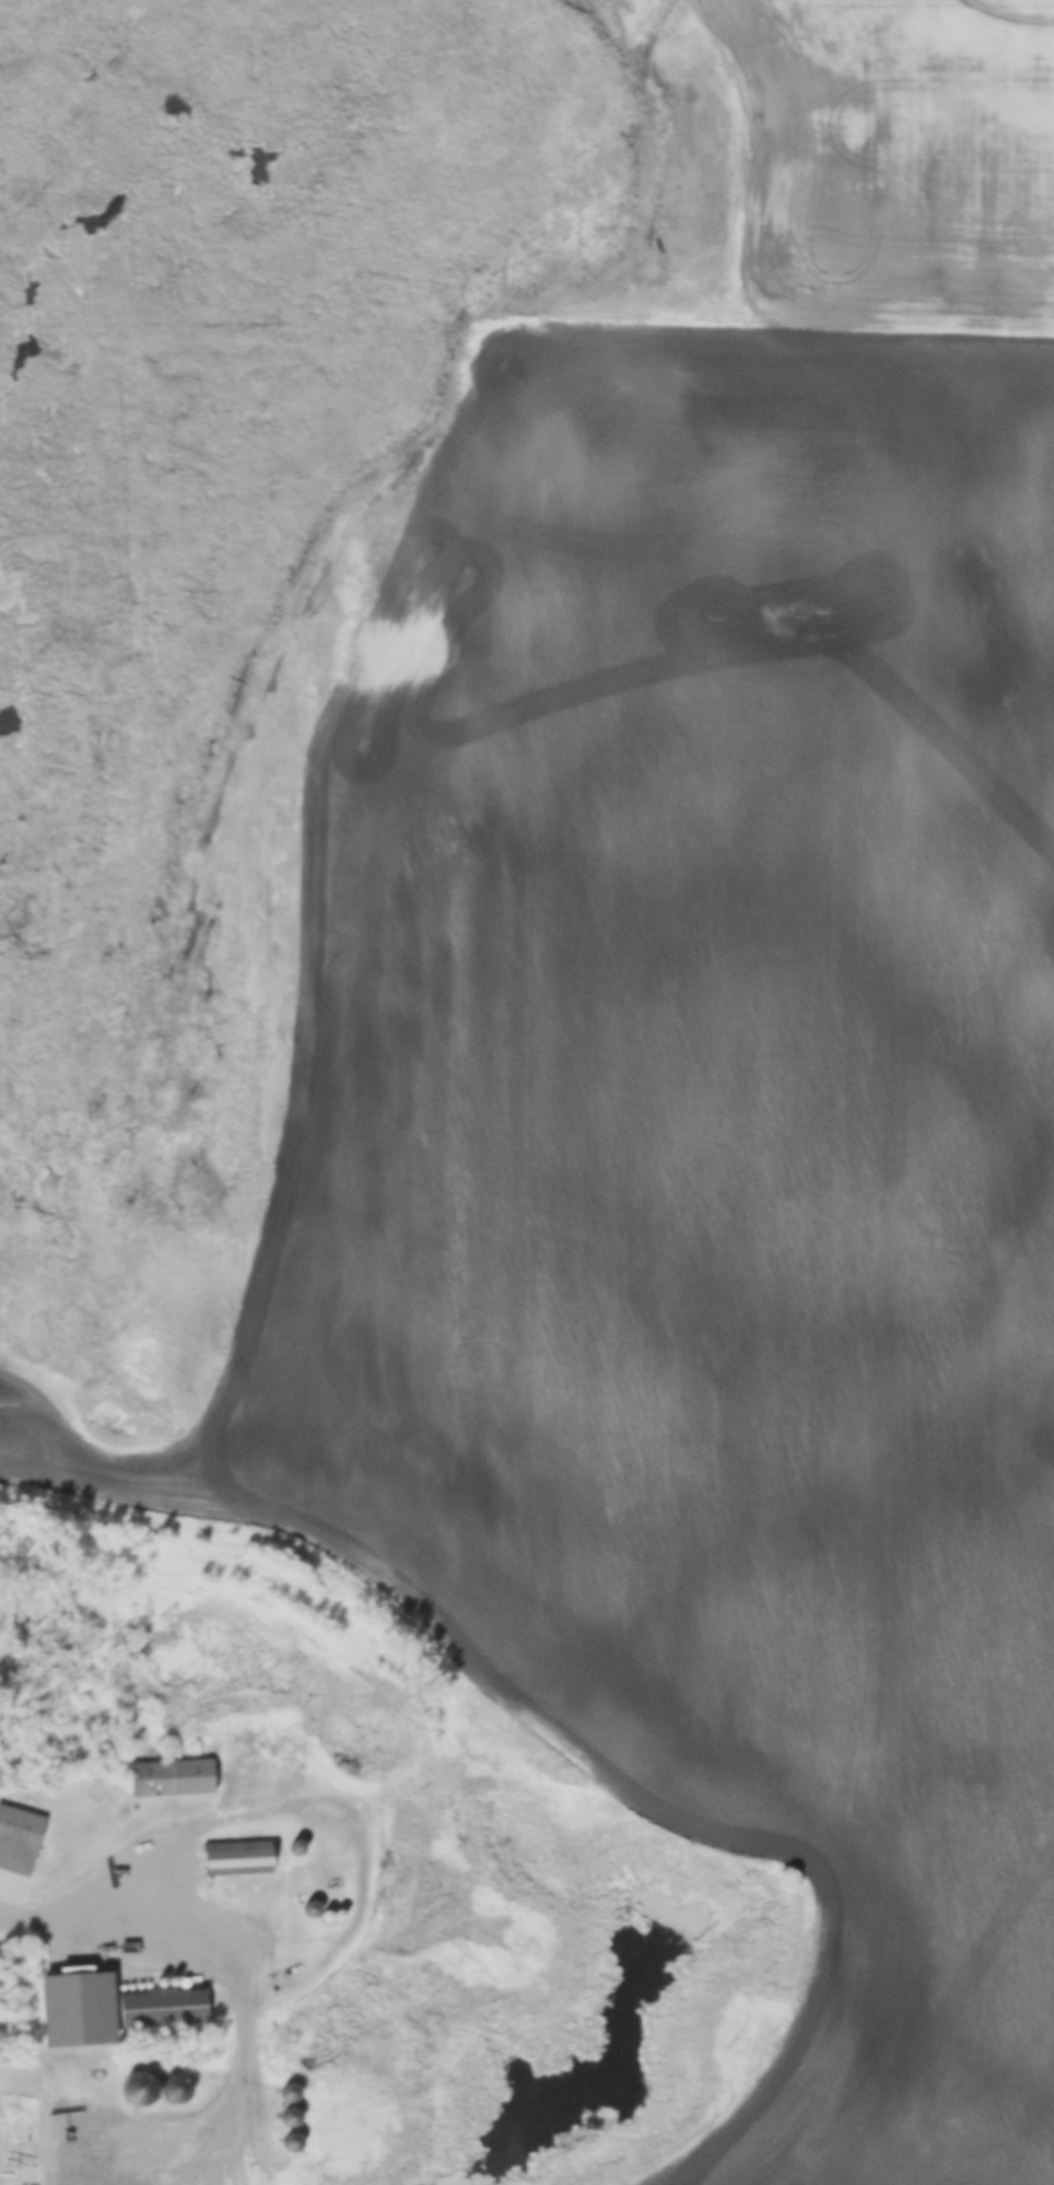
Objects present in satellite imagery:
building: (171, 1777)
building: (297, 1846)
silo: (297, 1846)
building: (10, 1855)
building: (235, 1858)
building: (296, 1867)
silo: (296, 1867)
building: (295, 1885)
silo: (295, 1885)
road: (359, 1893)
building: (294, 1905)
silo: (294, 1905)
building: (312, 1907)
silo: (312, 1907)
building: (340, 1914)
silo: (340, 1914)
building: (327, 1915)
silo: (327, 1915)
road: (27, 1918)
building: (295, 1926)
silo: (295, 1926)
building: (295, 1950)
silo: (295, 1950)
building: (293, 1970)
silo: (293, 1970)
building: (187, 1980)
silo: (187, 1980)
building: (173, 1982)
silo: (173, 1982)
building: (159, 1983)
silo: (159, 1983)
building: (74, 2008)
building: (161, 2012)
building: (177, 2087)
silo: (177, 2087)
building: (138, 2088)
silo: (138, 2088)
building: (291, 2091)
silo: (291, 2091)
building: (291, 2114)
silo: (291, 2114)
building: (291, 2142)
silo: (291, 2142)

